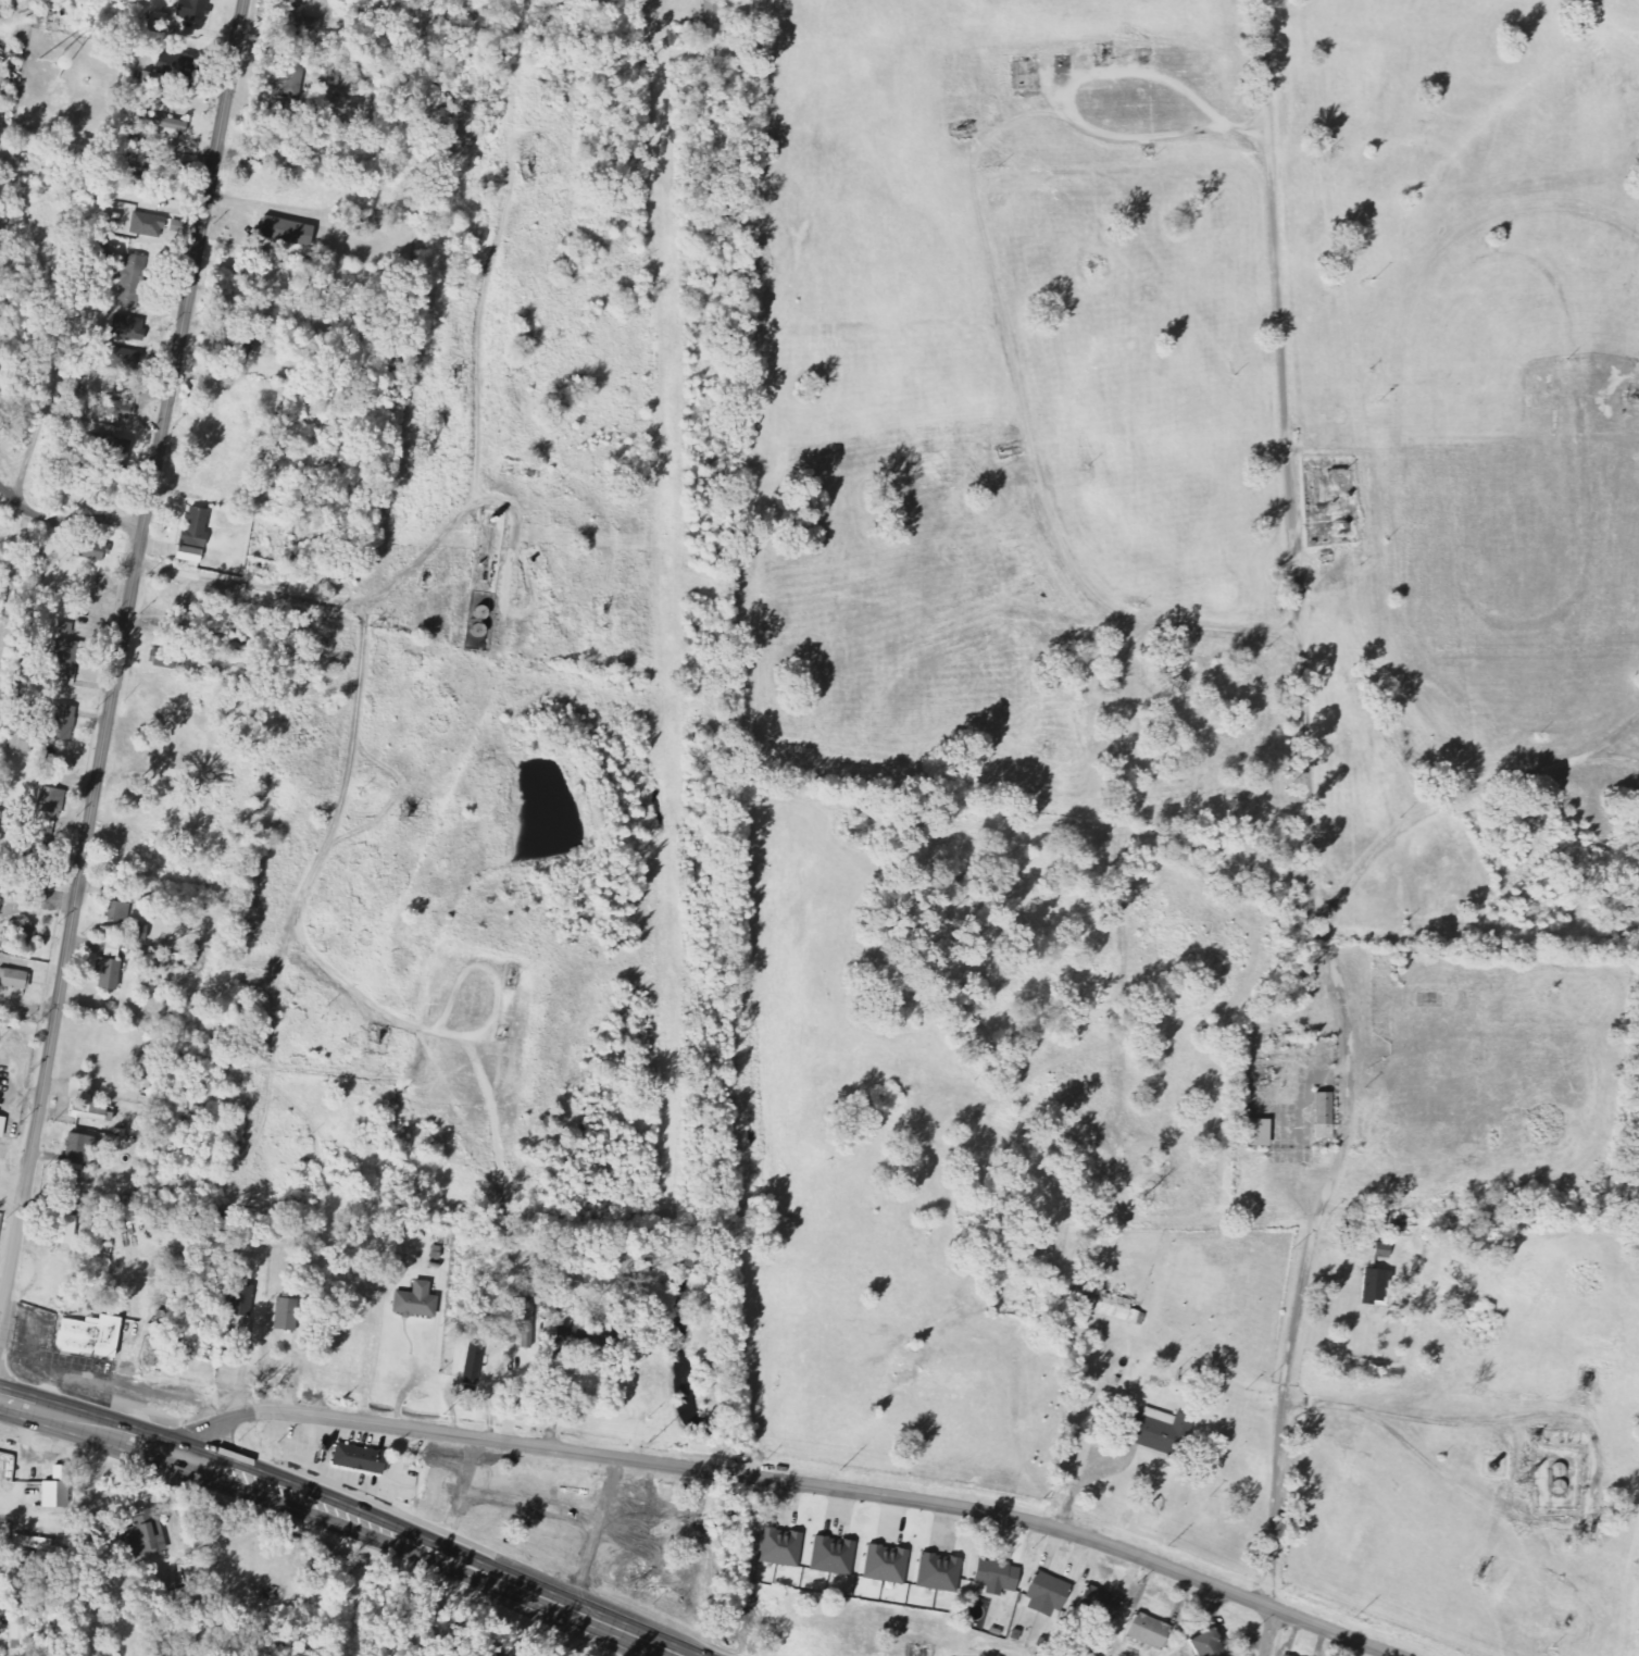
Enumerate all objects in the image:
building: (710, 11)
building: (296, 18)
road: (1066, 104)
building: (160, 121)
building: (146, 224)
building: (284, 232)
building: (126, 277)
building: (267, 350)
building: (238, 353)
building: (115, 409)
road: (1611, 409)
building: (191, 535)
building: (87, 550)
building: (64, 627)
road: (1225, 631)
building: (64, 658)
road: (124, 661)
building: (160, 662)
building: (61, 723)
road: (1616, 736)
road: (1462, 797)
building: (45, 800)
road: (1313, 833)
building: (32, 860)
road: (1117, 873)
building: (116, 911)
building: (18, 936)
building: (112, 950)
building: (107, 973)
building: (14, 980)
road: (1304, 1094)
building: (92, 1111)
building: (1322, 1116)
building: (1, 1123)
building: (1255, 1133)
building: (78, 1149)
building: (63, 1229)
road: (7, 1261)
building: (1373, 1286)
building: (240, 1297)
building: (414, 1302)
building: (1103, 1303)
building: (528, 1313)
building: (279, 1315)
building: (1135, 1318)
building: (86, 1335)
building: (472, 1362)
power tower: (89, 1364)
power tower: (442, 1412)
road: (97, 1428)
building: (1151, 1430)
power tower: (641, 1442)
building: (356, 1460)
power tower: (831, 1471)
road: (795, 1483)
building: (1557, 1487)
building: (53, 1490)
power tower: (1037, 1497)
building: (140, 1535)
building: (29, 1543)
building: (778, 1547)
road: (438, 1554)
building: (831, 1556)
building: (884, 1564)
building: (937, 1572)
building: (994, 1574)
building: (1044, 1594)
building: (186, 1599)
building: (1096, 1603)
power tower: (1360, 1622)
building: (16, 1630)
building: (1146, 1631)
road: (578, 1636)
building: (1203, 1645)

